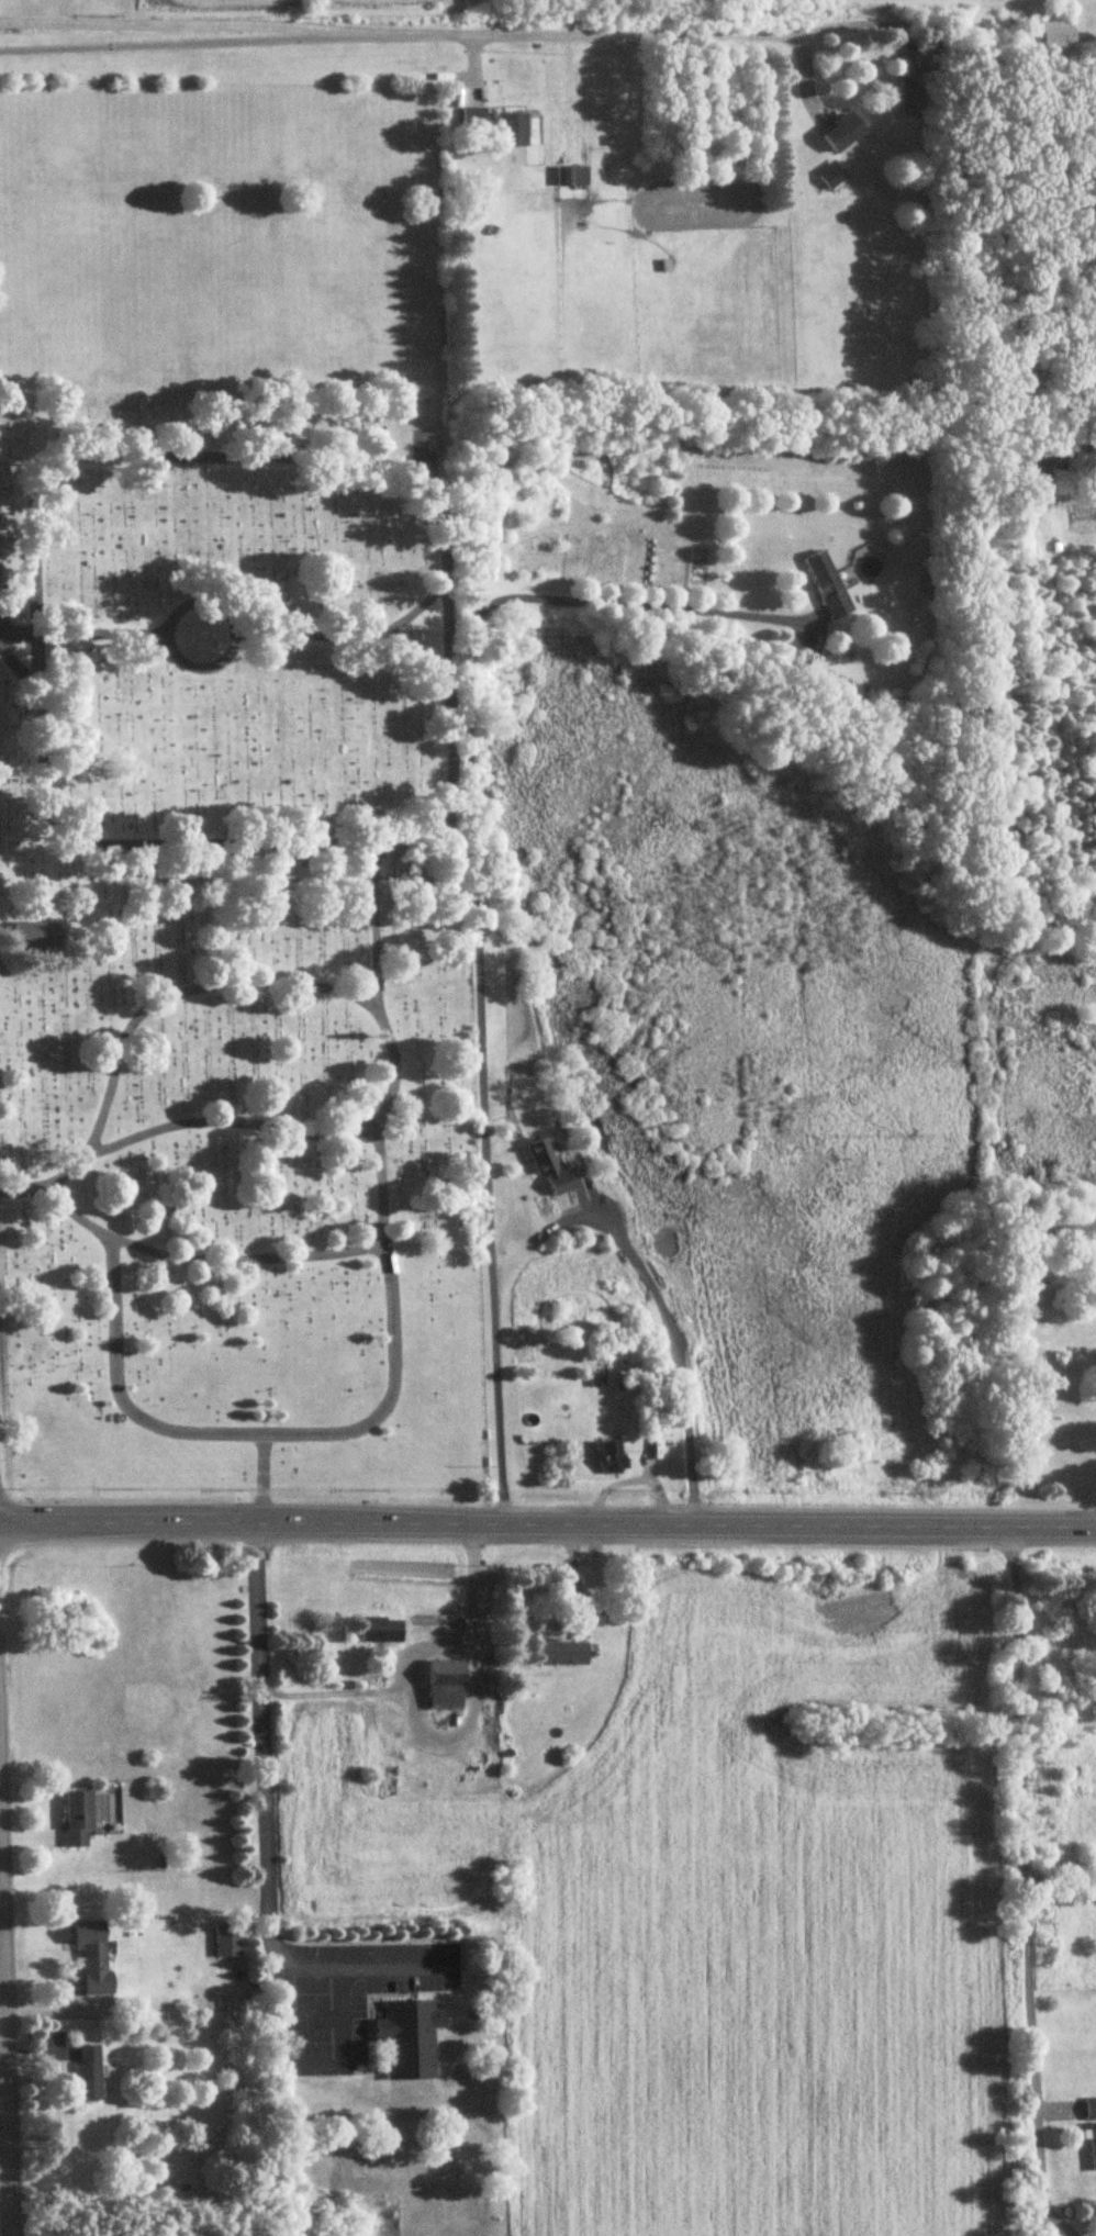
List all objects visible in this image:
road: (184, 23)
road: (612, 35)
building: (1056, 38)
road: (184, 44)
building: (912, 98)
building: (513, 131)
building: (843, 133)
building: (830, 175)
building: (571, 177)
building: (1029, 380)
road: (1065, 450)
road: (79, 484)
building: (827, 585)
road: (622, 603)
road: (257, 619)
road: (58, 629)
road: (354, 631)
building: (426, 638)
road: (406, 660)
park: (235, 795)
building: (36, 935)
road: (176, 988)
road: (485, 1080)
road: (320, 1131)
building: (550, 1169)
road: (200, 1264)
road: (674, 1348)
road: (317, 1435)
building: (613, 1458)
road: (260, 1477)
road: (547, 1519)
building: (382, 1631)
road: (411, 1653)
building: (562, 1654)
building: (446, 1686)
building: (78, 1819)
road: (1025, 1880)
road: (270, 1899)
building: (227, 1941)
building: (93, 1956)
building: (410, 2039)
road: (1, 2048)
building: (89, 2073)
road: (4, 2093)
building: (1091, 2110)
road: (3, 2138)
building: (1093, 2147)

